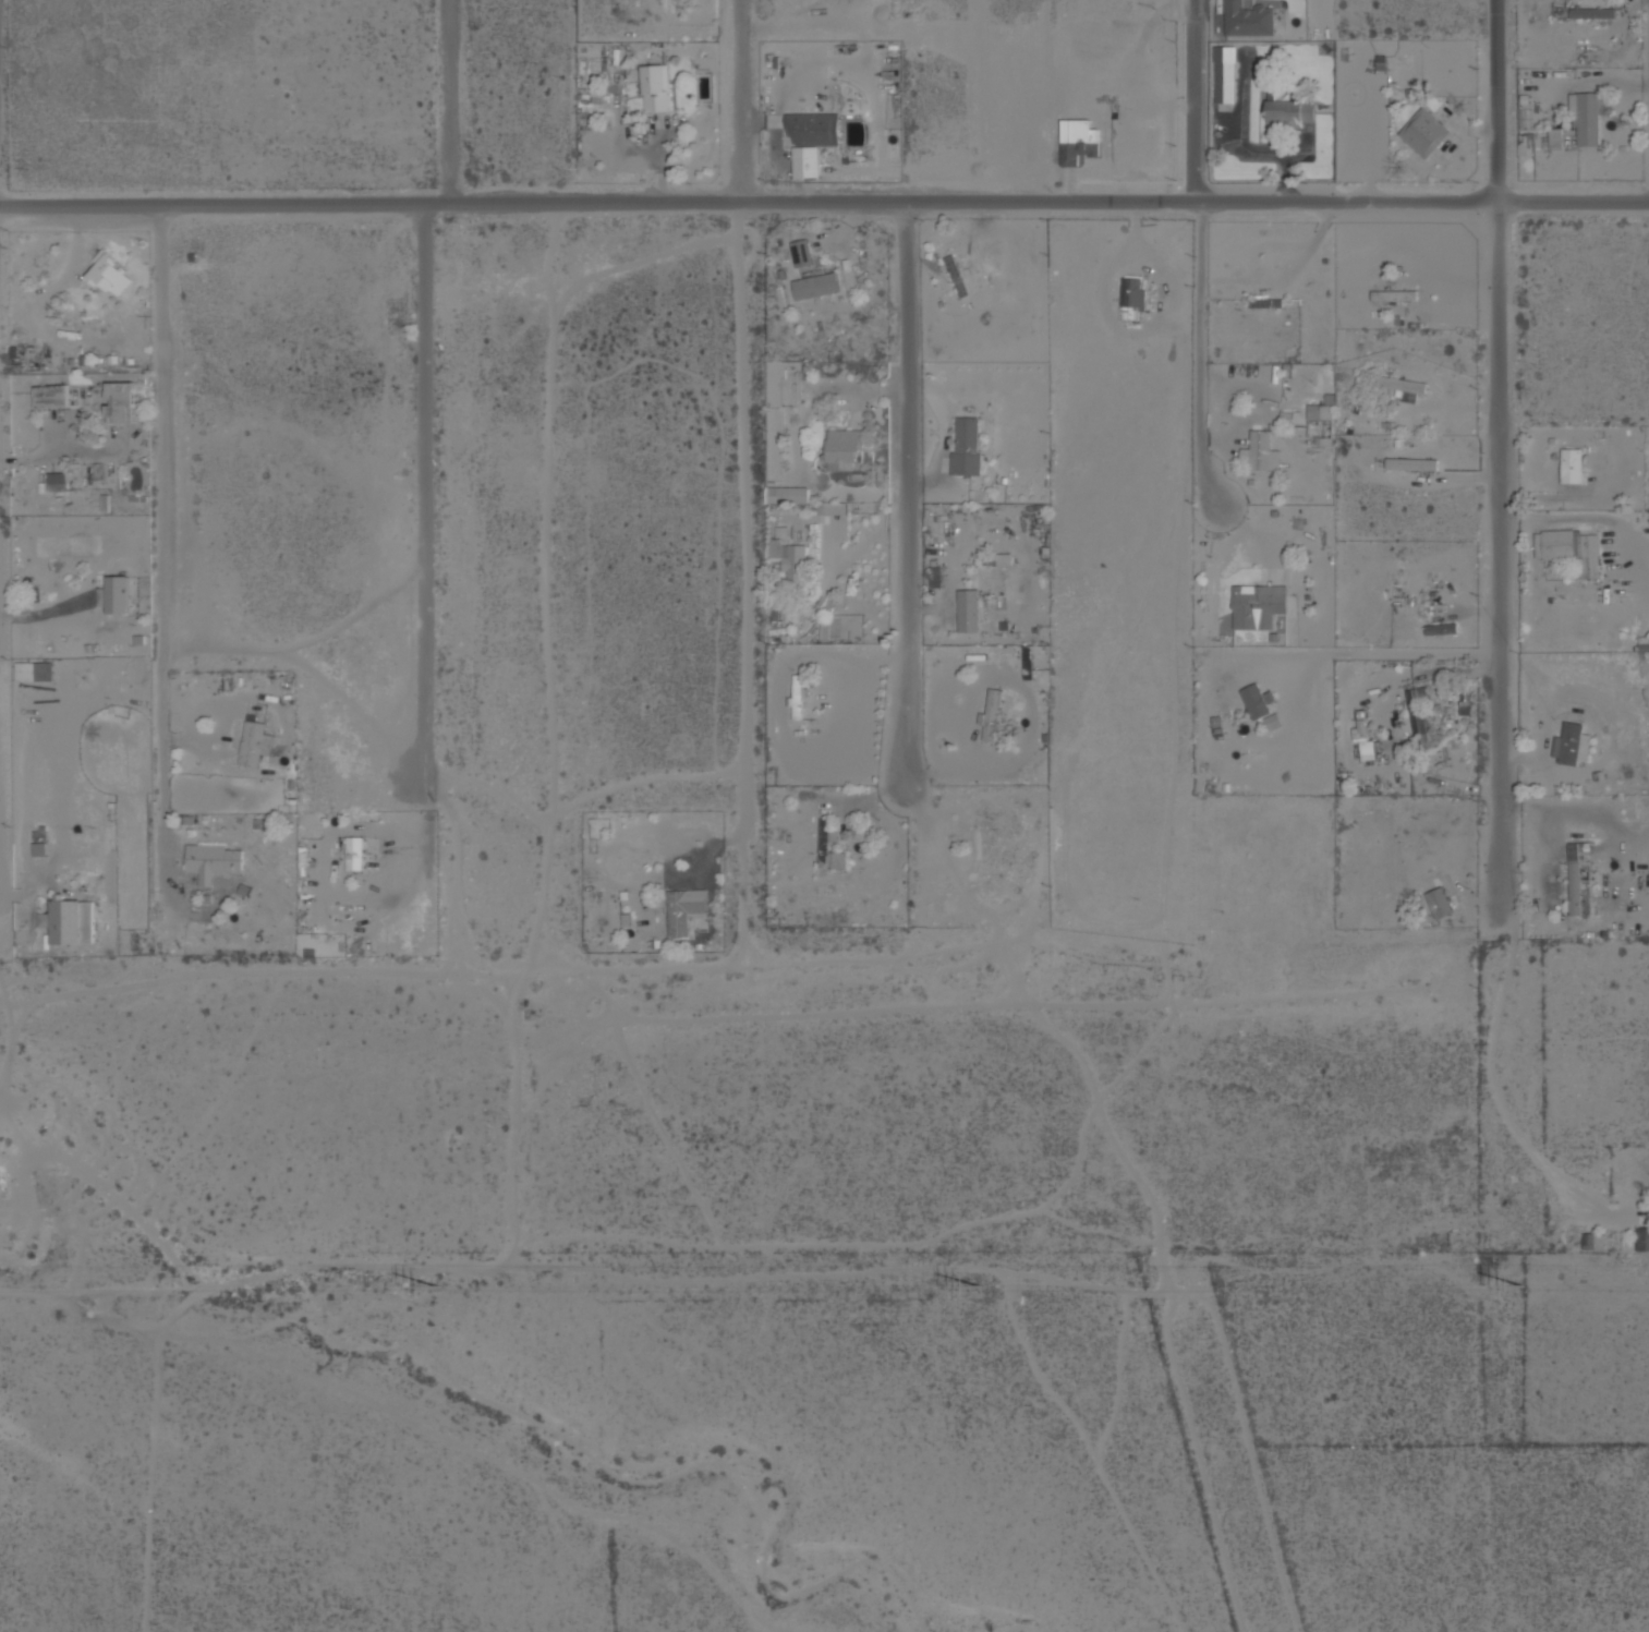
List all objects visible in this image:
building: (1597, 13)
building: (1248, 20)
building: (1224, 74)
building: (655, 87)
building: (1288, 109)
building: (1585, 119)
building: (813, 129)
building: (1423, 132)
building: (1555, 138)
building: (805, 162)
road: (824, 192)
road: (1193, 240)
building: (801, 253)
building: (110, 274)
building: (956, 276)
building: (816, 286)
building: (1130, 291)
building: (1395, 294)
building: (1403, 387)
building: (50, 396)
building: (121, 402)
building: (1320, 420)
building: (966, 447)
building: (844, 449)
building: (1260, 452)
road: (1501, 452)
road: (756, 460)
building: (1411, 463)
building: (1571, 466)
building: (57, 481)
building: (786, 495)
road: (902, 495)
road: (165, 498)
building: (833, 508)
building: (1568, 547)
building: (792, 561)
building: (119, 594)
building: (1258, 605)
building: (968, 611)
building: (1642, 643)
building: (1027, 665)
building: (797, 696)
building: (1254, 701)
building: (990, 715)
building: (1417, 717)
building: (1272, 721)
building: (1363, 739)
building: (254, 742)
building: (1572, 744)
building: (824, 846)
building: (354, 853)
building: (214, 861)
building: (1576, 874)
building: (1439, 902)
building: (684, 909)
building: (63, 921)
building: (1642, 1238)
building: (1593, 1241)
power tower: (981, 1285)
power tower: (1525, 1288)
power tower: (438, 1289)

